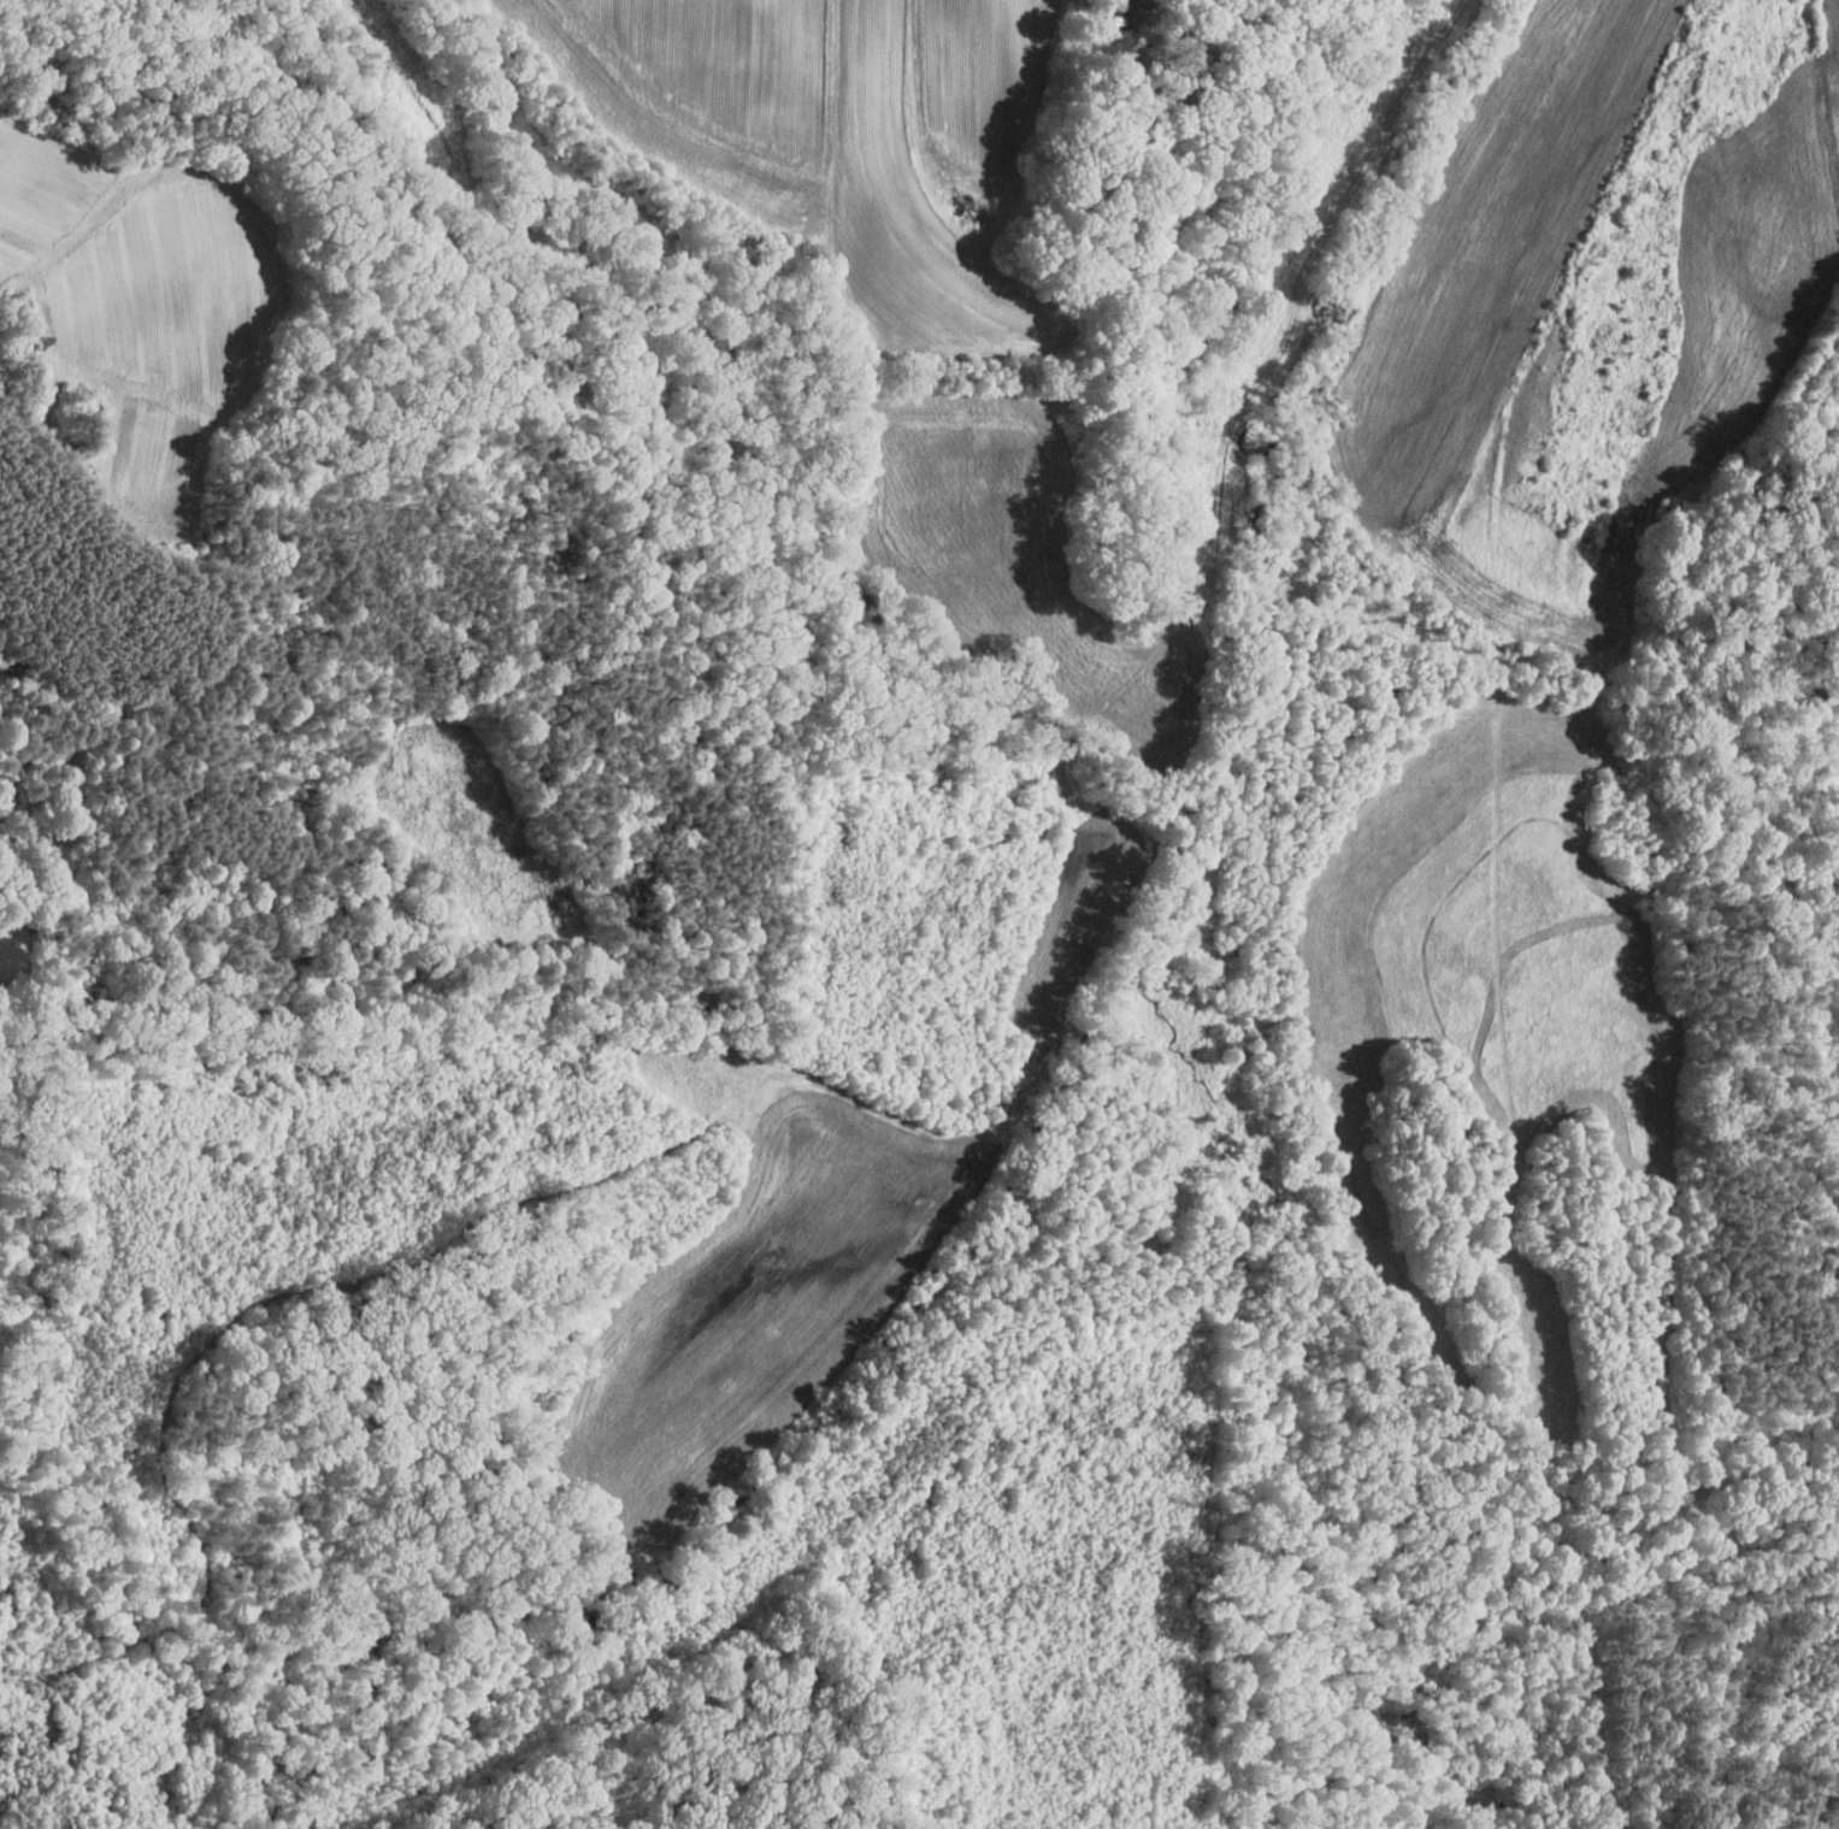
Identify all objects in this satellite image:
road: (1793, 647)

